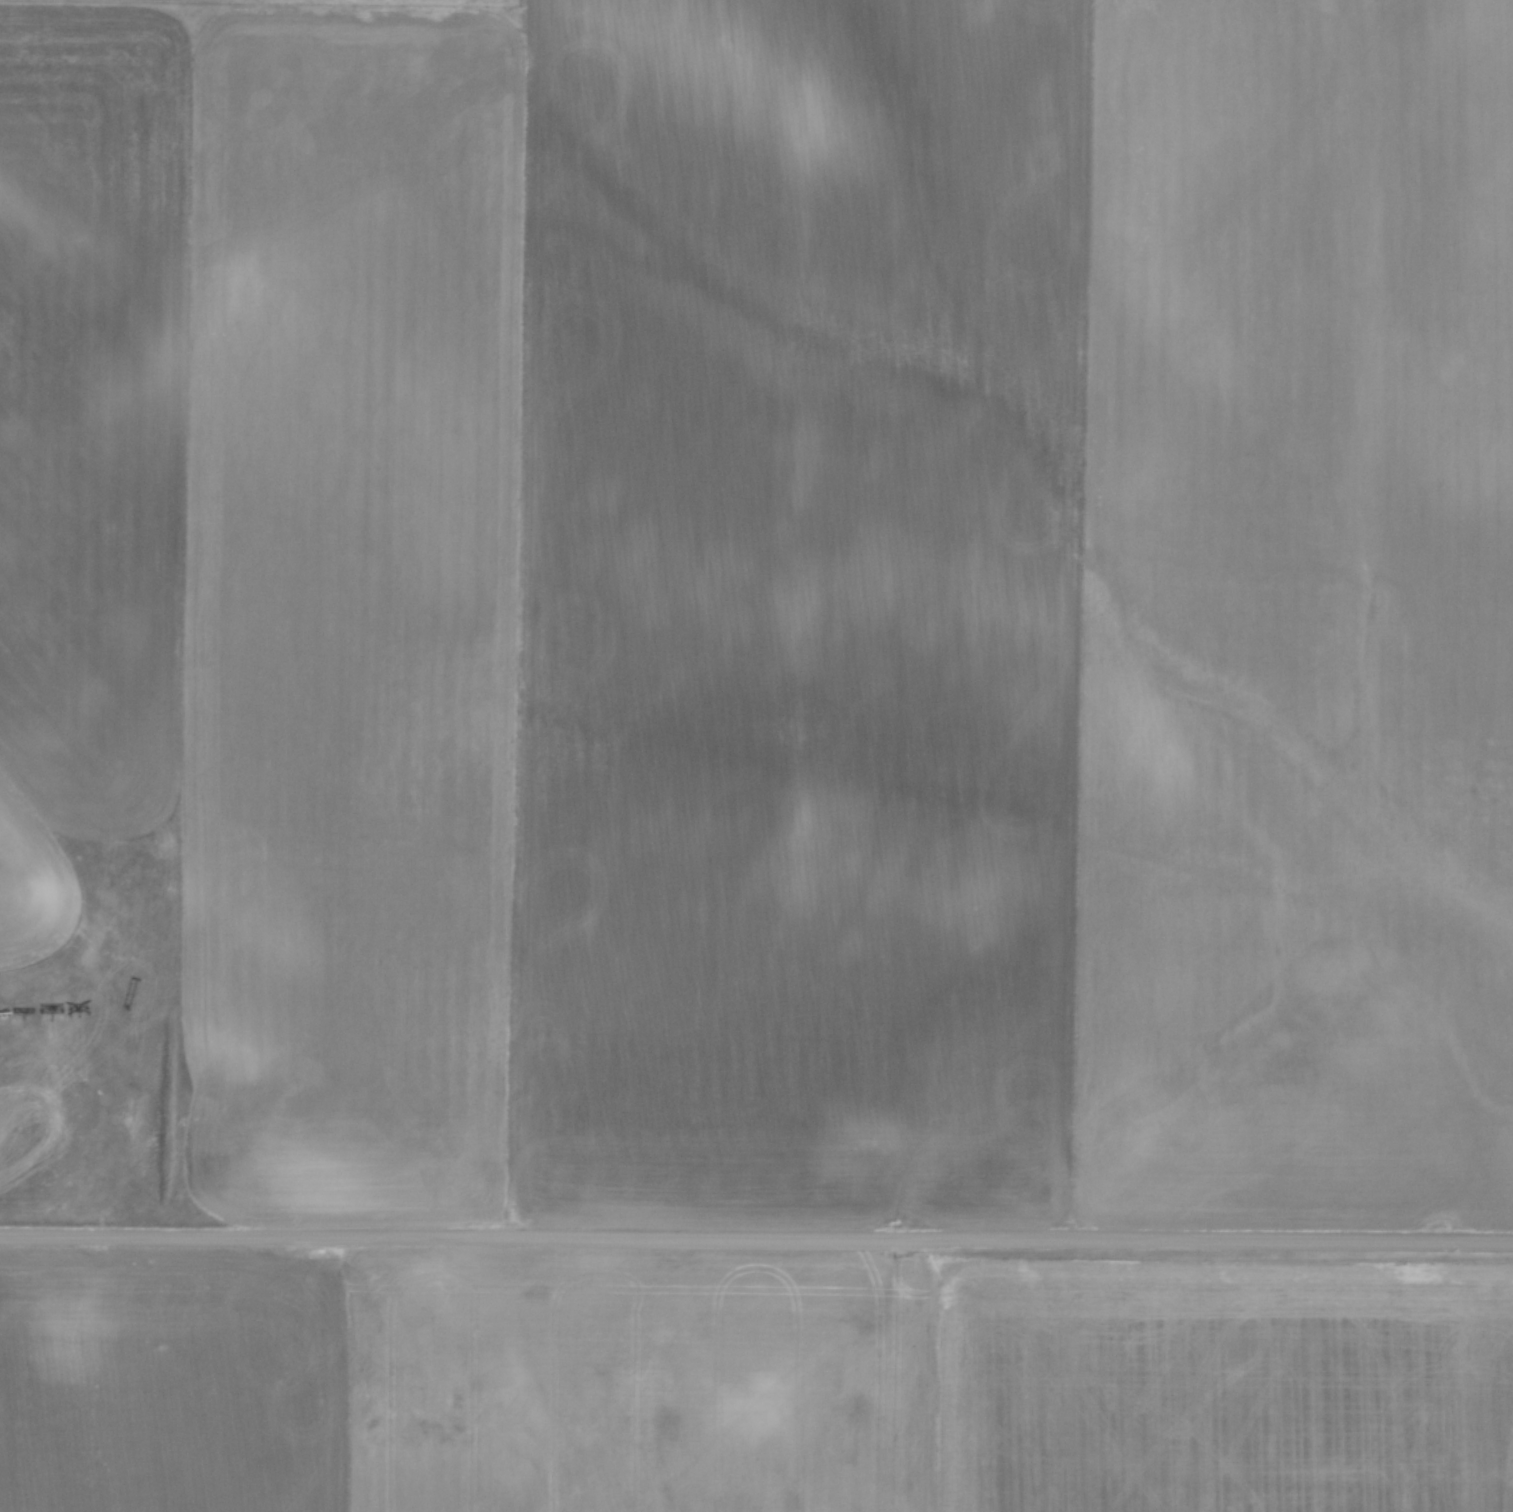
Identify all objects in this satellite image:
crop: (779, 596)
road: (756, 1236)
crop: (752, 1383)

